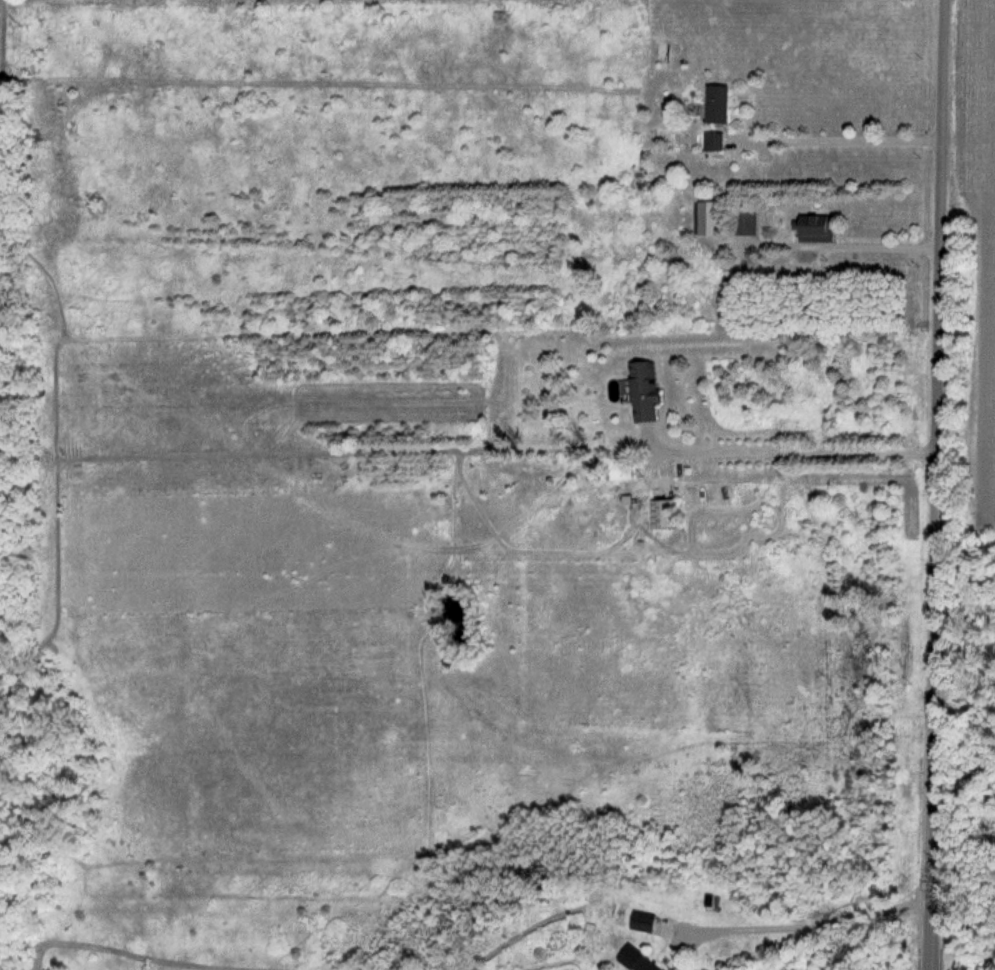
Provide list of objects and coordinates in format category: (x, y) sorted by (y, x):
building: (721, 104)
road: (859, 135)
building: (715, 142)
building: (709, 218)
building: (748, 224)
building: (820, 228)
road: (855, 242)
building: (646, 392)
road: (798, 446)
building: (624, 469)
road: (930, 484)
building: (667, 513)
building: (645, 921)
road: (822, 923)
building: (641, 960)

